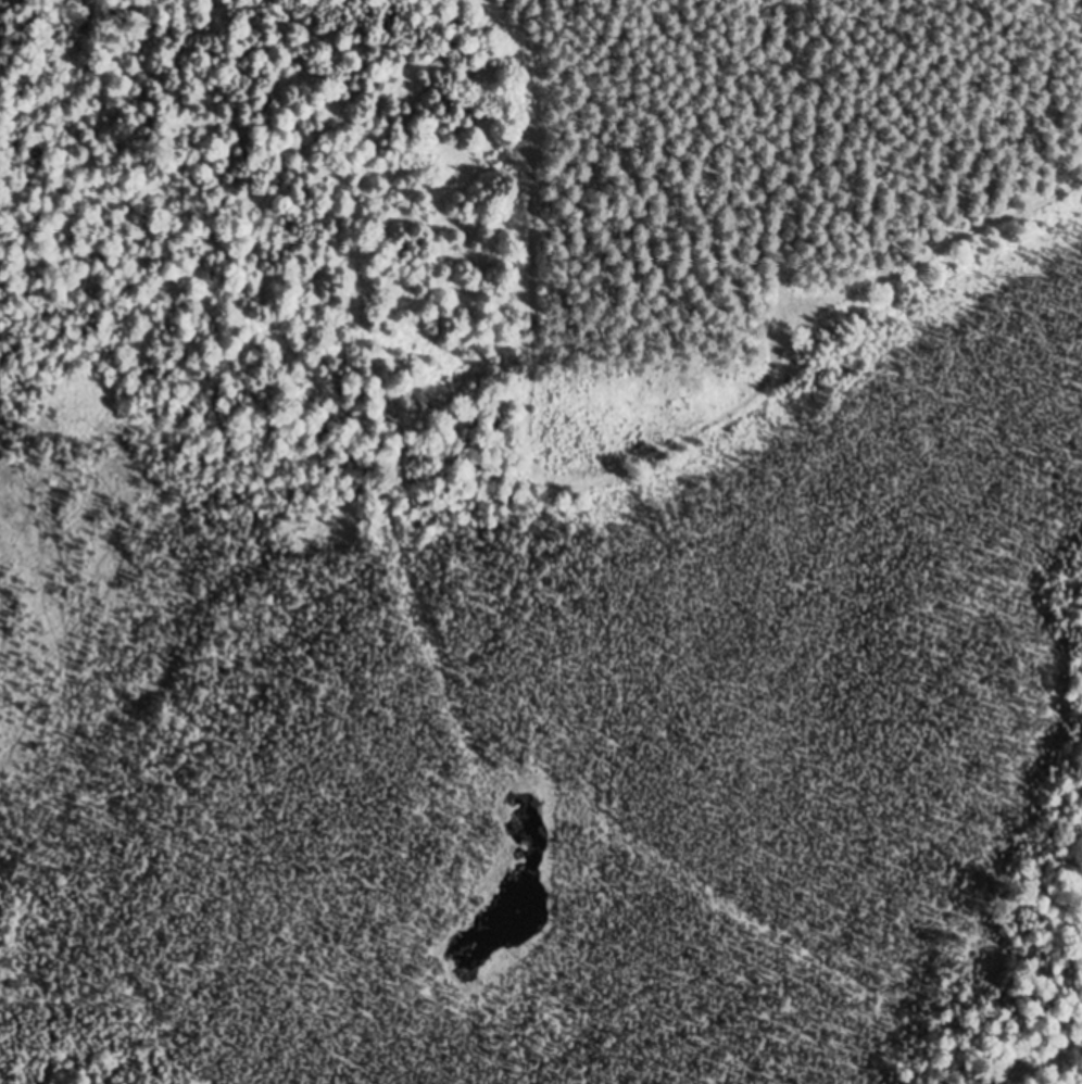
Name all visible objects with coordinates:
road: (300, 268)

